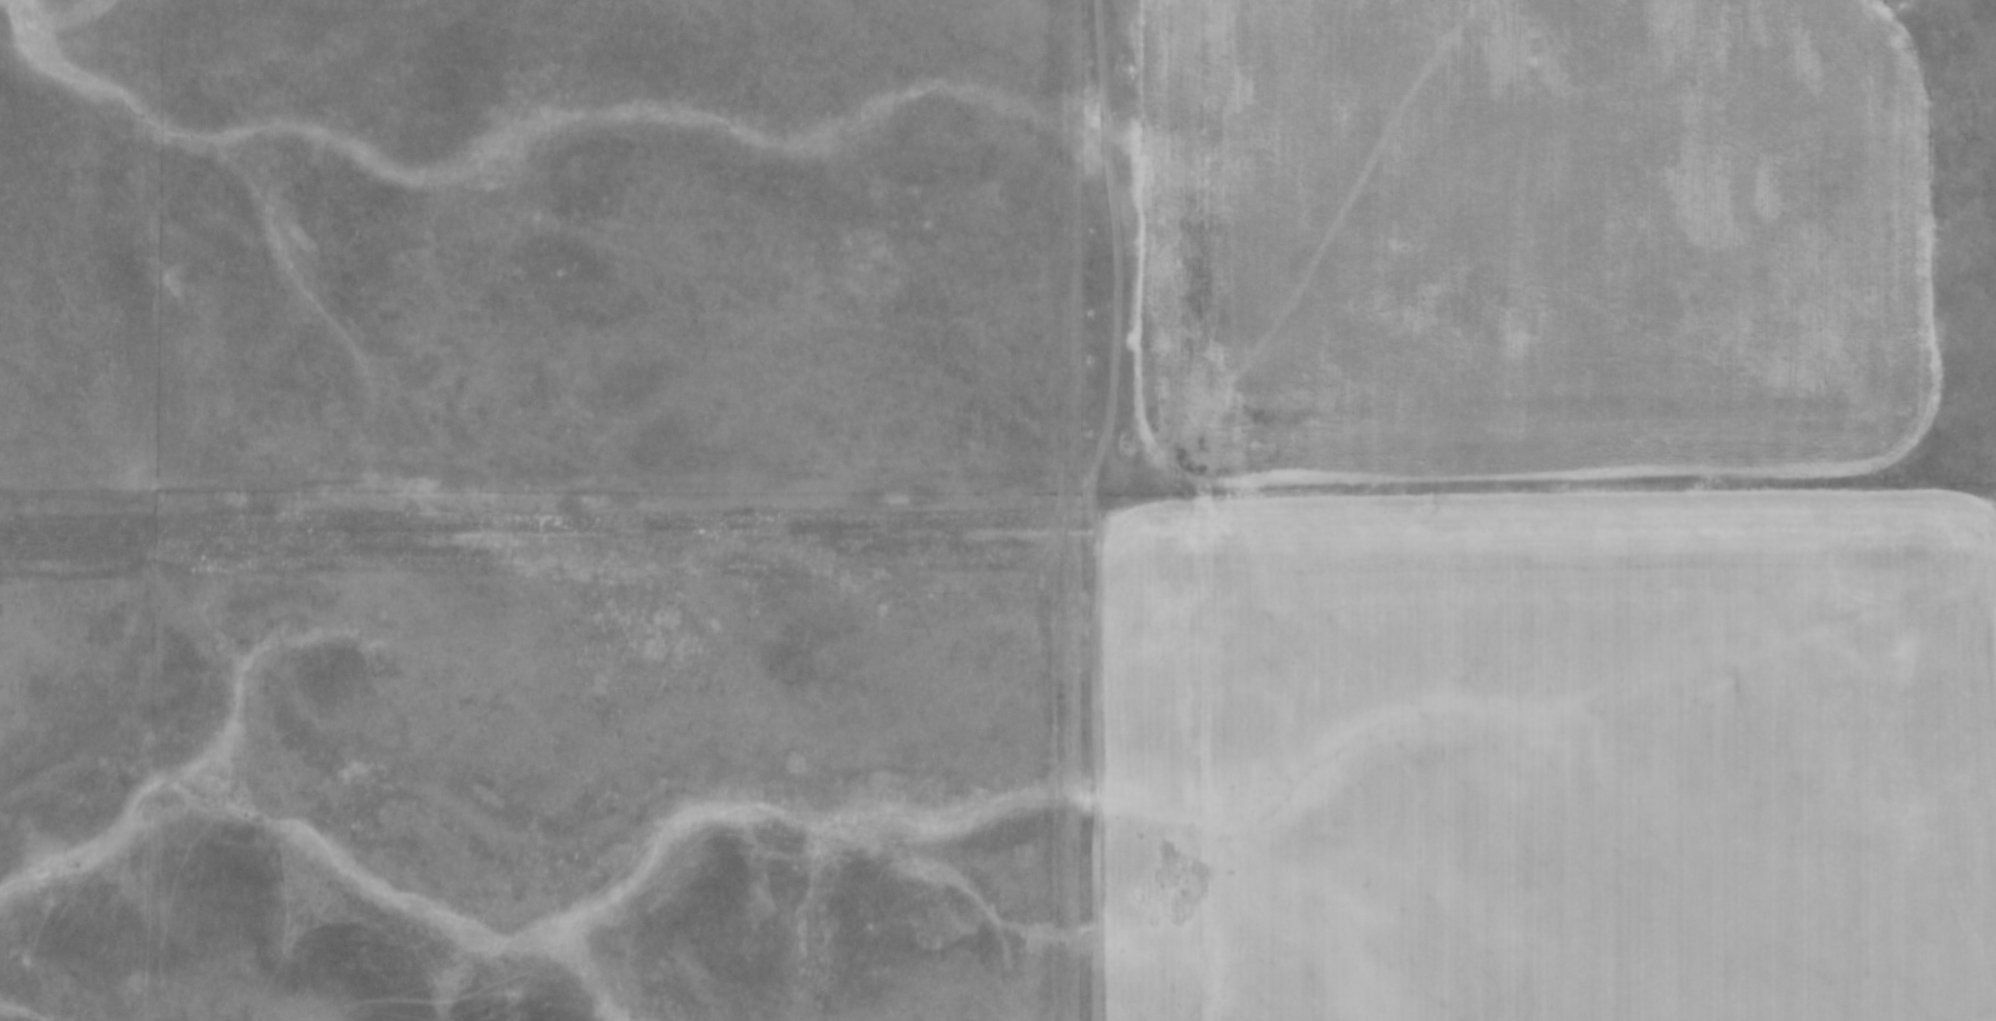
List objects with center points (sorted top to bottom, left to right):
road: (1101, 509)

